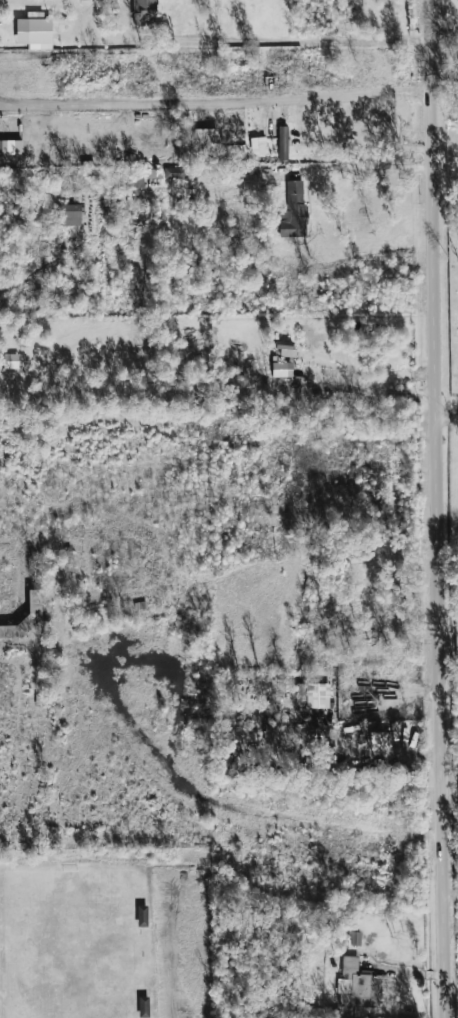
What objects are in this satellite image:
building: (143, 9)
road: (445, 31)
building: (34, 33)
road: (277, 44)
road: (217, 104)
building: (204, 136)
building: (282, 143)
building: (257, 145)
building: (10, 147)
road: (377, 169)
building: (172, 173)
road: (445, 197)
building: (293, 211)
building: (69, 215)
building: (10, 361)
building: (281, 369)
road: (371, 392)
road: (446, 412)
road: (436, 509)
building: (317, 696)
building: (380, 739)
building: (141, 916)
park: (67, 945)
building: (358, 984)

